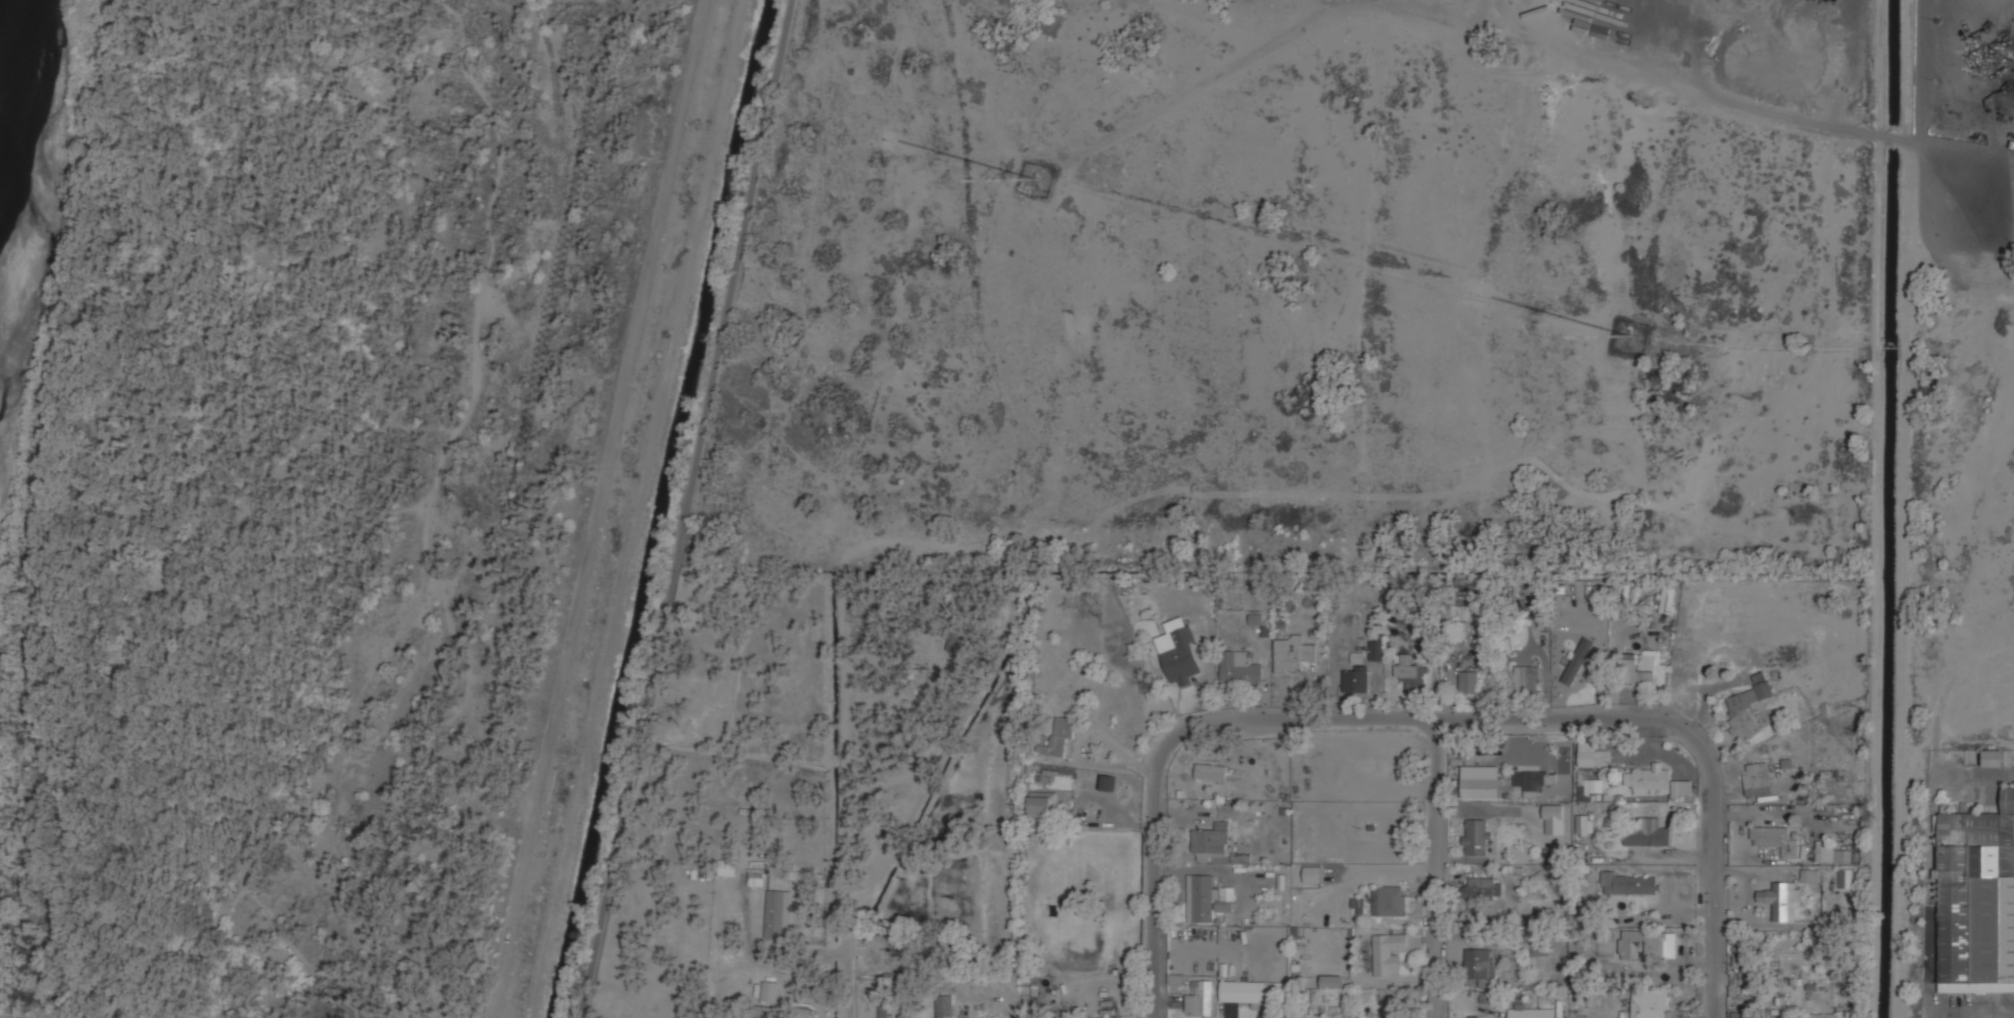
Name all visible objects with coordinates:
road: (469, 403)
road: (176, 507)
road: (593, 509)
road: (686, 509)
building: (1667, 600)
building: (1457, 615)
building: (1256, 618)
building: (952, 638)
building: (1376, 649)
building: (1292, 653)
building: (1181, 656)
road: (1, 657)
building: (1356, 657)
building: (1577, 661)
building: (1239, 668)
building: (1642, 668)
building: (1412, 675)
building: (1525, 678)
building: (1355, 679)
building: (1469, 681)
building: (1749, 707)
road: (1429, 728)
building: (1061, 738)
building: (1589, 754)
building: (1994, 758)
building: (1212, 771)
building: (1757, 778)
building: (1650, 780)
building: (1527, 782)
building: (1595, 785)
building: (1681, 787)
building: (1584, 792)
building: (1043, 806)
building: (1553, 819)
building: (1584, 823)
road: (243, 827)
building: (1648, 832)
building: (1477, 837)
building: (1212, 840)
building: (1776, 840)
building: (1837, 855)
building: (1312, 873)
road: (1433, 873)
building: (1811, 875)
building: (756, 877)
building: (1847, 877)
building: (1630, 884)
building: (1482, 888)
building: (1207, 900)
building: (1783, 900)
building: (1977, 900)
building: (1389, 901)
building: (1357, 905)
building: (775, 914)
building: (1644, 944)
building: (1387, 953)
building: (1479, 965)
building: (1331, 981)
building: (770, 991)
building: (1245, 992)
building: (1199, 999)
building: (1650, 1003)
building: (945, 1006)
building: (885, 1010)
building: (762, 1012)
building: (1528, 1013)
building: (1473, 1016)
building: (1819, 1016)
building: (1095, 1017)

